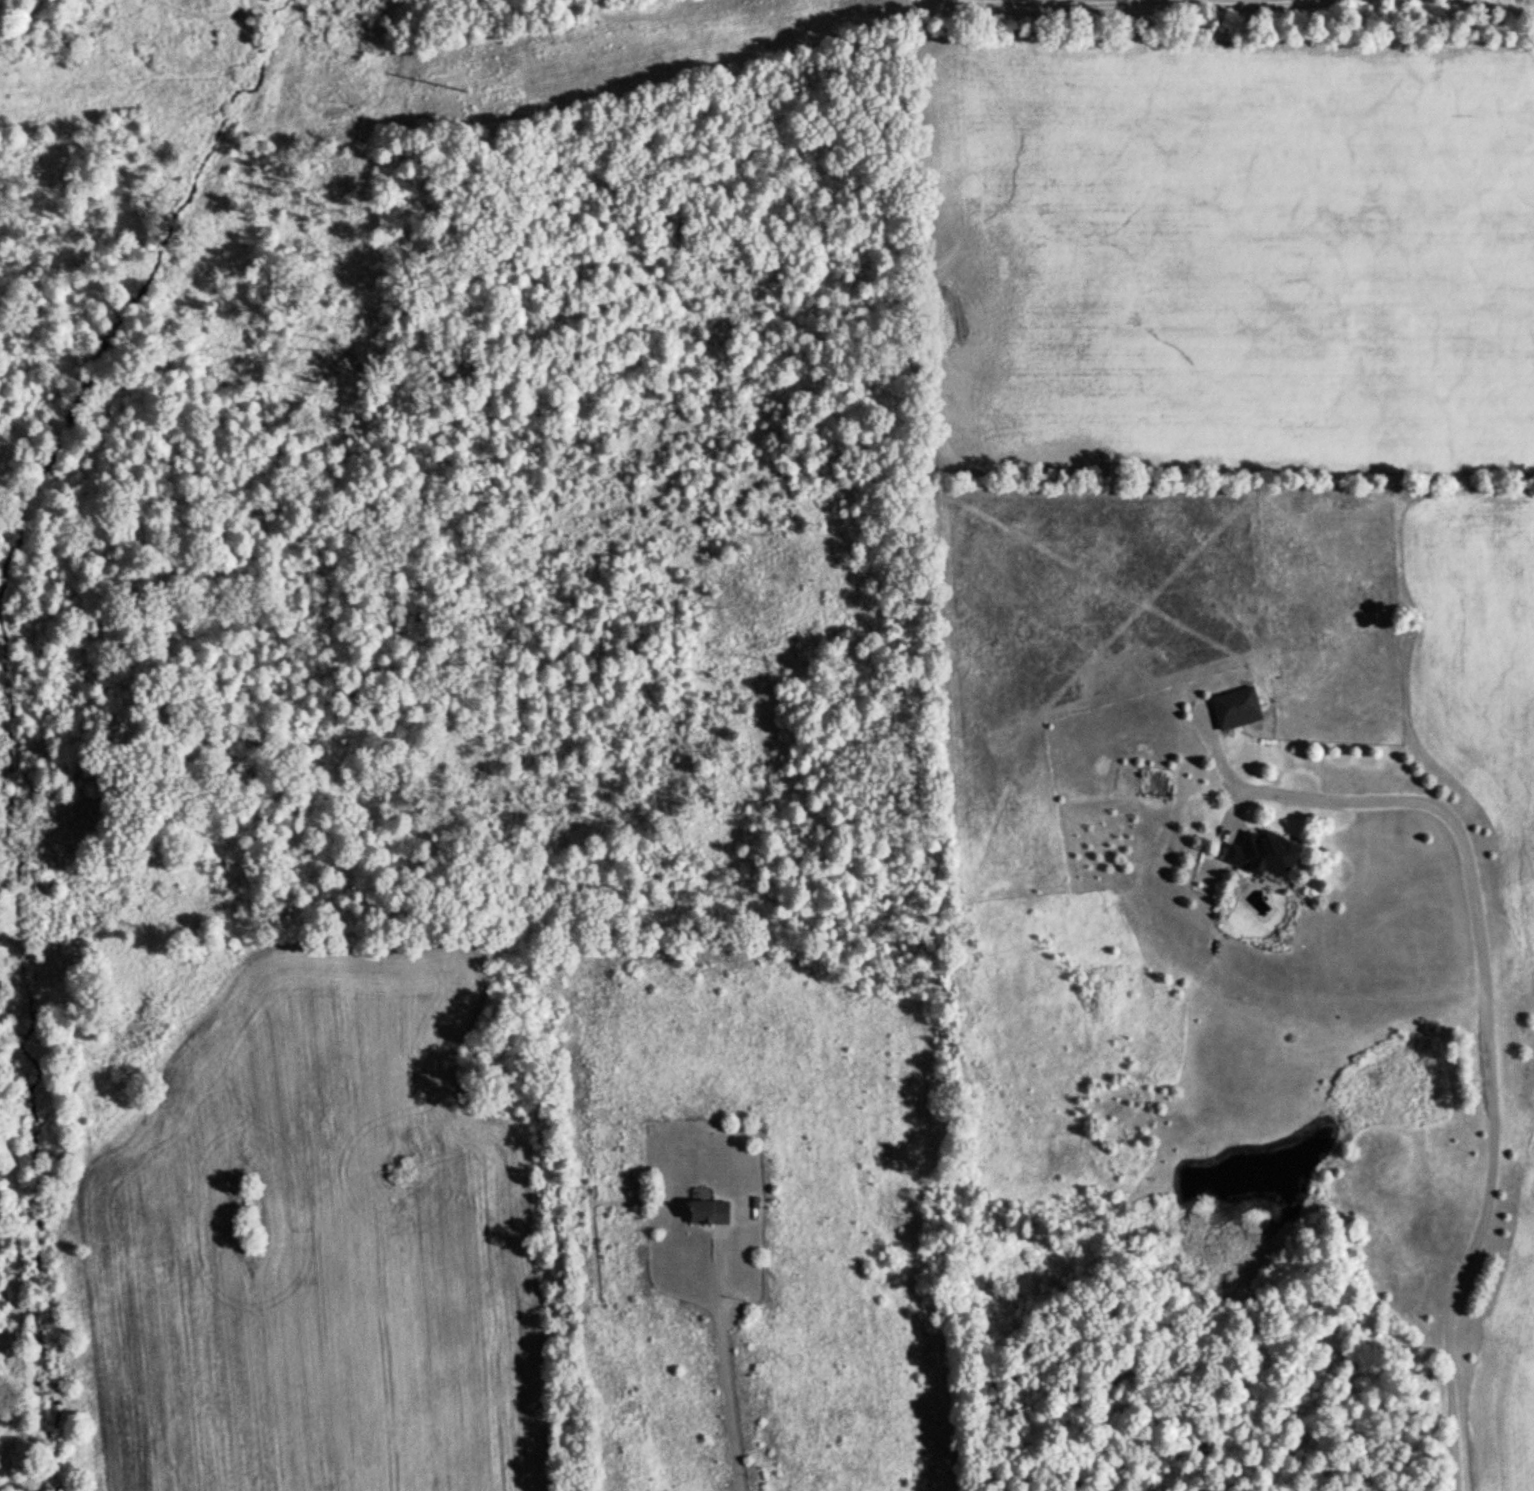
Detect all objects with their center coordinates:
power tower: (471, 93)
crop: (1239, 250)
crop: (1478, 666)
building: (1237, 707)
building: (1265, 853)
road: (1489, 1060)
road: (578, 1173)
building: (755, 1200)
building: (711, 1208)
crop: (317, 1245)
crop: (1510, 1344)
road: (724, 1364)

